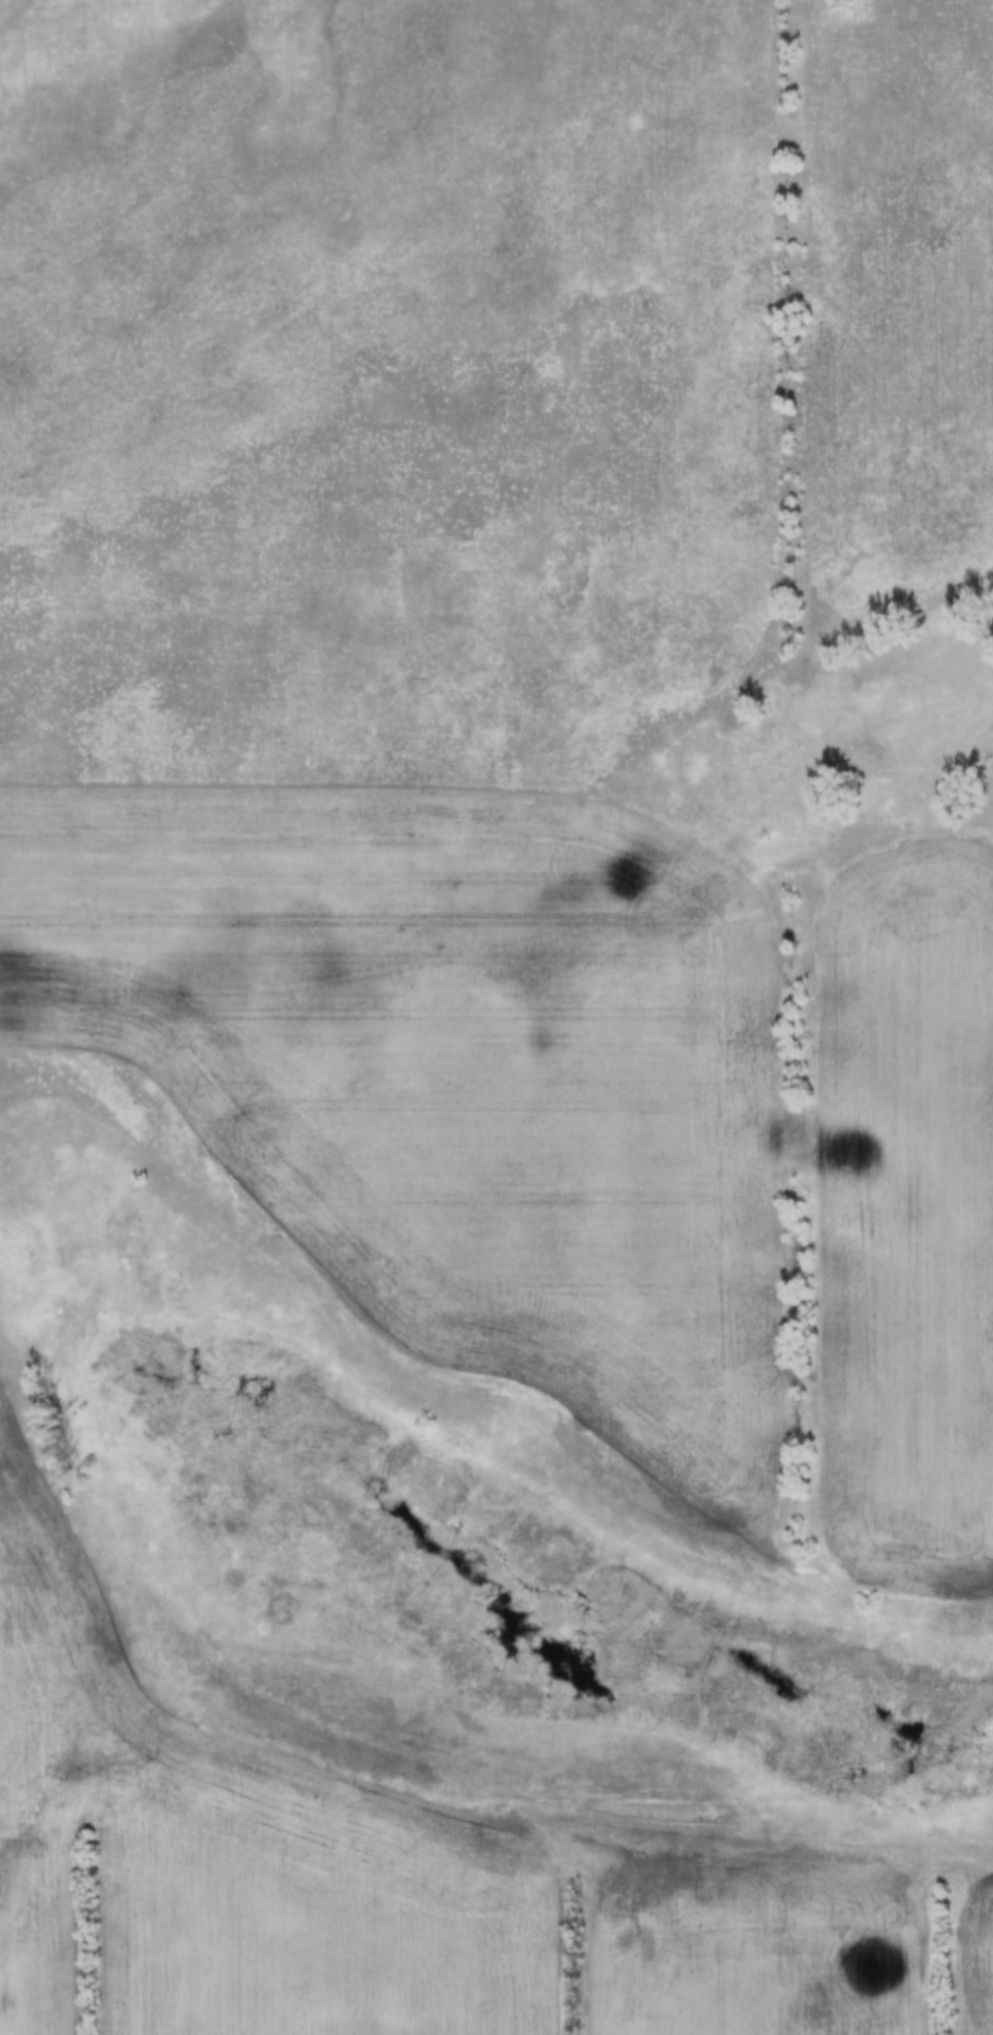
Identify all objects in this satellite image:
road: (924, 721)

